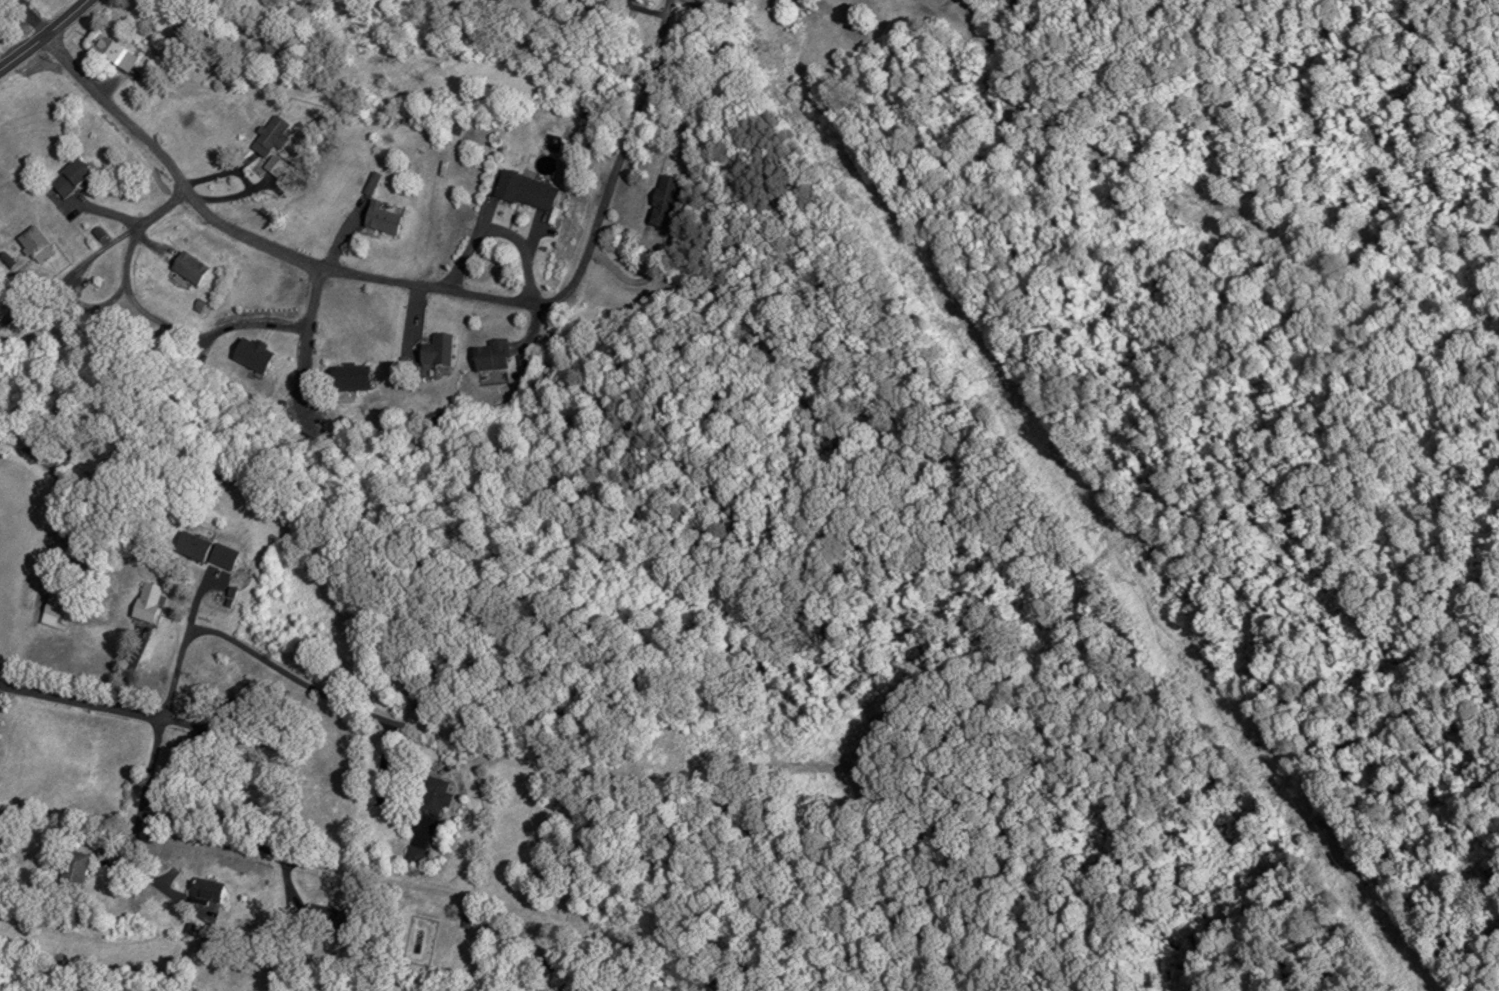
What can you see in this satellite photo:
building: (631, 0)
road: (45, 36)
building: (111, 55)
road: (630, 128)
building: (69, 179)
building: (524, 191)
building: (662, 200)
building: (381, 219)
road: (287, 252)
building: (186, 270)
building: (436, 350)
building: (251, 354)
building: (491, 355)
building: (348, 377)
road: (30, 454)
building: (204, 551)
building: (145, 602)
building: (55, 610)
road: (252, 651)
building: (407, 691)
road: (82, 701)
building: (228, 708)
building: (433, 795)
building: (413, 856)
road: (312, 865)
building: (72, 871)
building: (204, 891)

